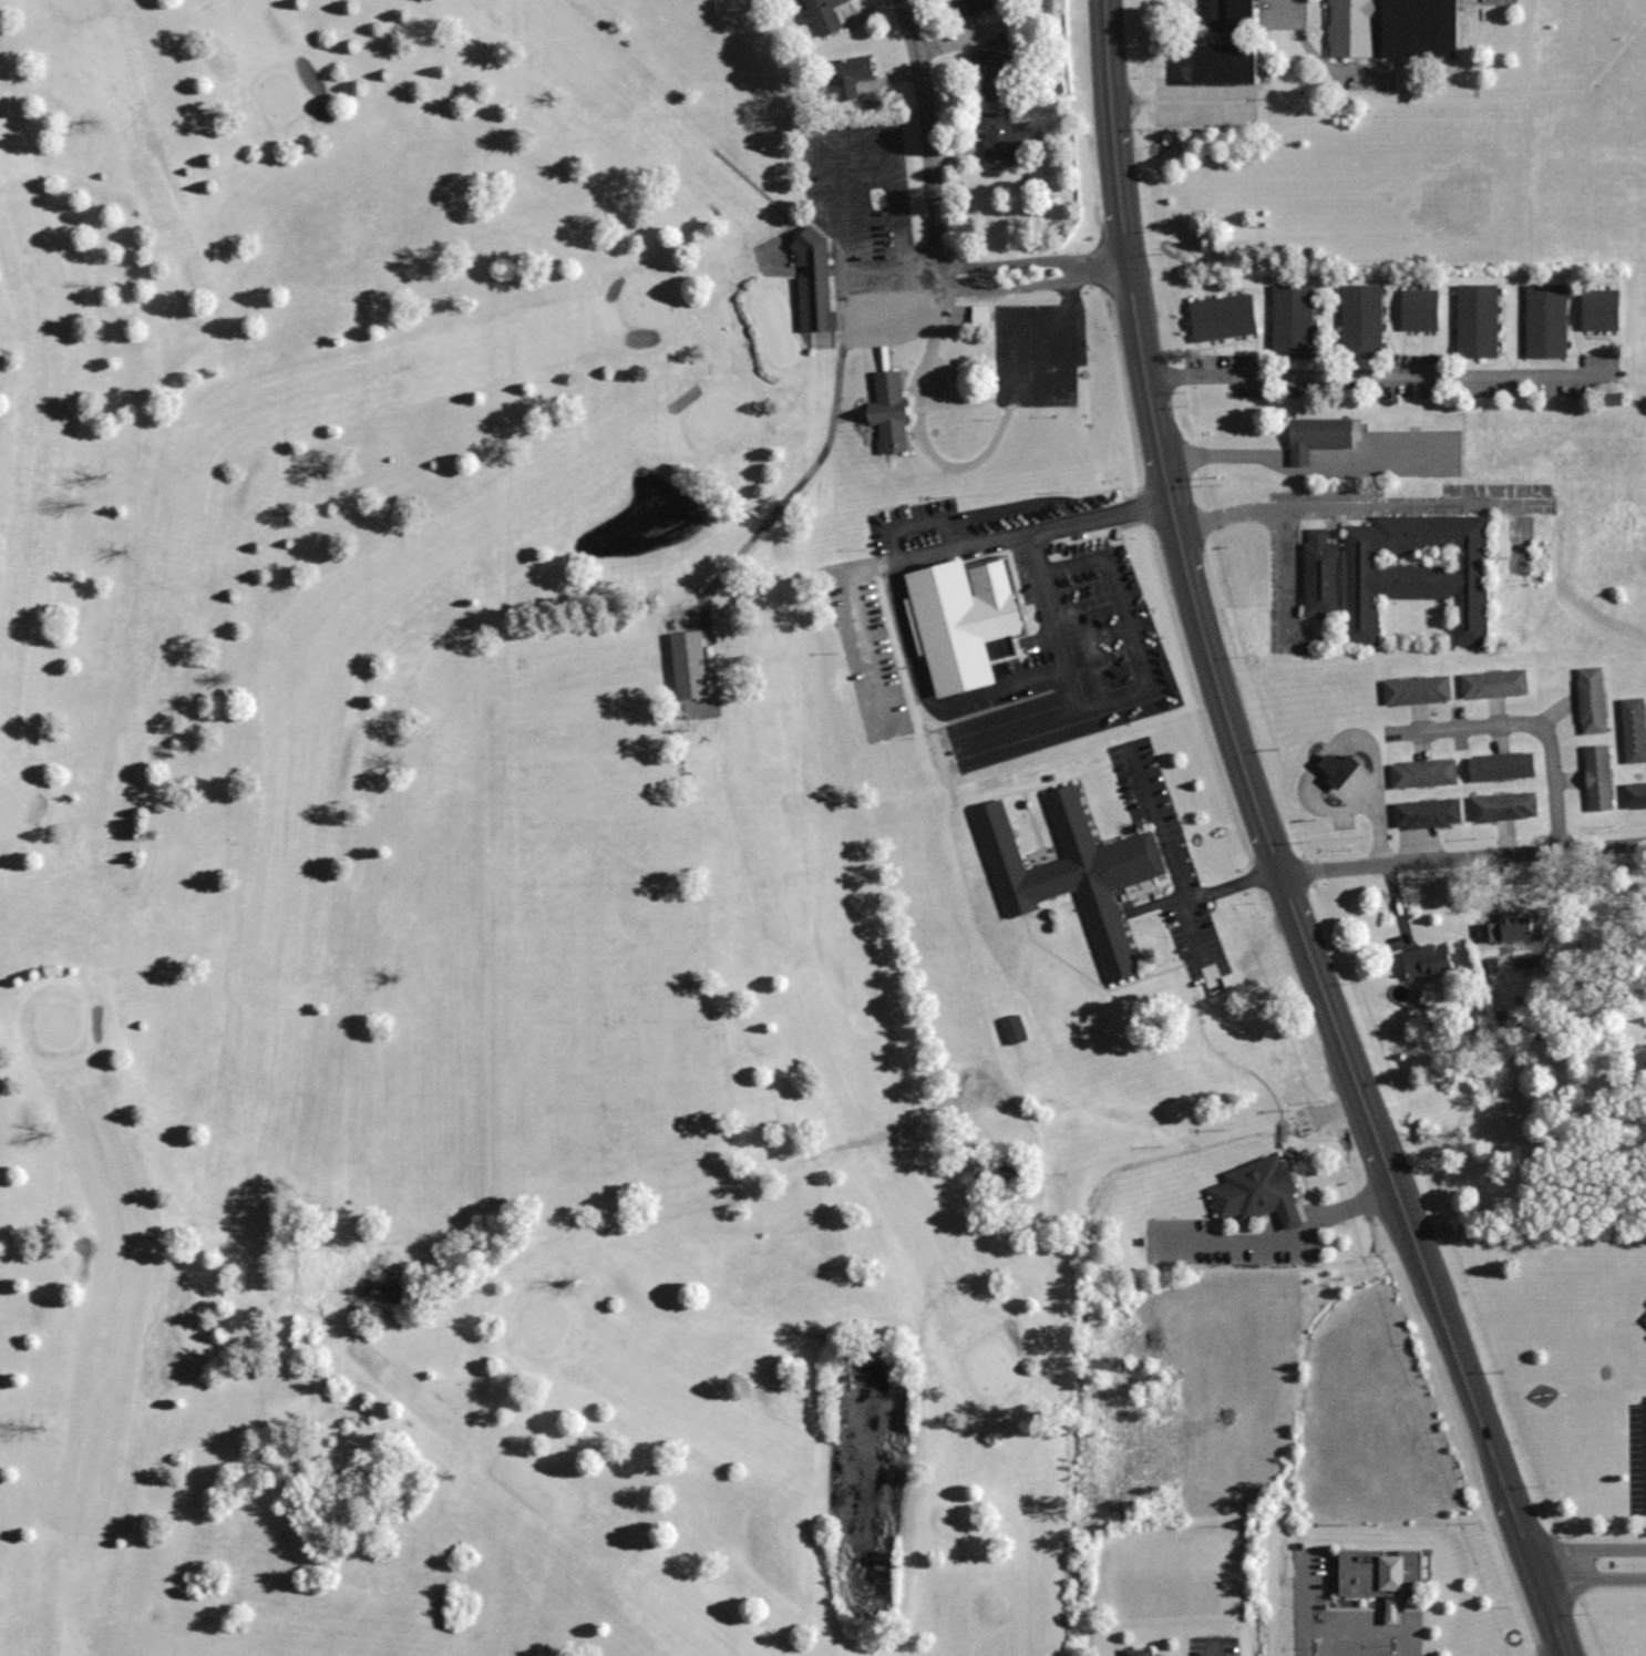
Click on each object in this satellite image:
building: (973, 6)
building: (822, 14)
building: (1350, 28)
building: (1418, 28)
building: (1225, 45)
building: (990, 74)
building: (846, 76)
road: (928, 126)
building: (1005, 135)
road: (820, 148)
road: (863, 193)
road: (1035, 260)
building: (811, 279)
road: (1026, 285)
building: (1418, 308)
building: (1598, 309)
building: (978, 315)
building: (1221, 317)
building: (1359, 319)
building: (1544, 319)
building: (1292, 320)
building: (1474, 320)
road: (863, 321)
road: (1374, 374)
building: (1609, 399)
building: (886, 411)
building: (1315, 436)
road: (1256, 456)
road: (955, 467)
road: (1269, 507)
building: (1399, 572)
building: (960, 618)
road: (905, 634)
road: (1131, 648)
building: (688, 665)
building: (1492, 682)
building: (1414, 690)
building: (1590, 699)
road: (1526, 721)
building: (1633, 729)
building: (1500, 765)
building: (1337, 769)
building: (1422, 772)
building: (1596, 776)
building: (1634, 794)
building: (1502, 805)
building: (1426, 813)
road: (1378, 822)
road: (1270, 844)
road: (1463, 856)
building: (1071, 872)
road: (1179, 876)
road: (1187, 919)
building: (1504, 928)
building: (1423, 961)
building: (1012, 1028)
building: (997, 1173)
building: (1256, 1192)
road: (1288, 1240)
building: (1644, 1318)
building: (872, 1333)
road: (1587, 1549)
building: (1379, 1574)
road: (1593, 1580)
building: (1135, 1650)

